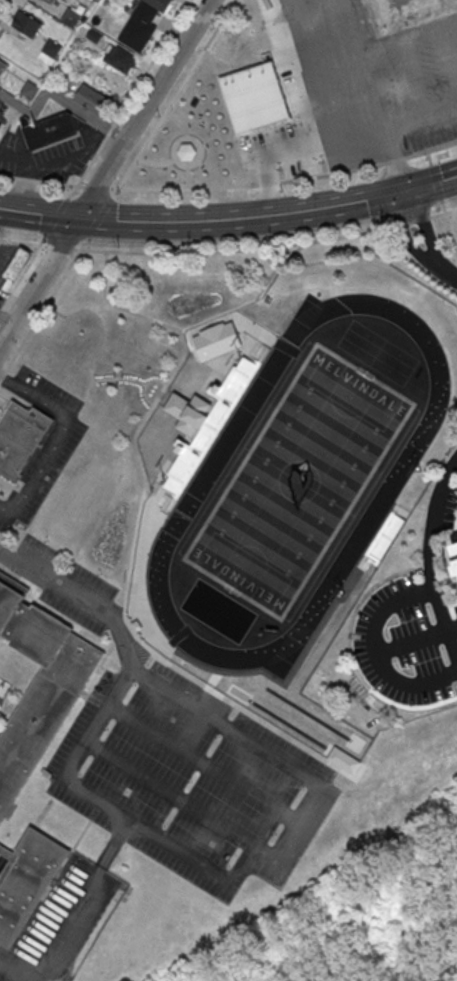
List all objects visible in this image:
building: (50, 1)
road: (3, 5)
building: (412, 10)
building: (70, 16)
building: (143, 22)
building: (26, 23)
road: (380, 48)
building: (50, 50)
building: (120, 58)
road: (447, 58)
building: (2, 65)
road: (320, 69)
parking lot: (375, 79)
road: (414, 84)
building: (29, 89)
road: (51, 92)
road: (373, 97)
building: (91, 98)
road: (130, 98)
road: (173, 98)
building: (255, 99)
road: (180, 121)
building: (0, 124)
road: (312, 124)
road: (421, 128)
building: (50, 129)
park: (193, 138)
road: (387, 142)
road: (430, 156)
road: (155, 163)
road: (187, 166)
road: (105, 172)
road: (188, 177)
road: (287, 178)
road: (41, 180)
road: (437, 180)
road: (98, 187)
traffic signals: (415, 188)
traffic signals: (404, 191)
traffic signals: (397, 193)
road: (443, 211)
road: (38, 213)
road: (268, 214)
road: (99, 216)
road: (57, 217)
traffic signals: (76, 221)
road: (414, 221)
road: (425, 224)
road: (449, 225)
road: (408, 232)
road: (22, 242)
road: (59, 246)
road: (235, 249)
road: (446, 267)
building: (15, 268)
road: (23, 273)
road: (46, 303)
road: (8, 317)
road: (100, 321)
road: (198, 330)
road: (2, 374)
road: (0, 376)
road: (109, 377)
road: (145, 385)
road: (5, 397)
building: (189, 412)
road: (56, 435)
building: (20, 438)
park: (297, 480)
track: (296, 481)
road: (10, 482)
road: (22, 489)
building: (455, 549)
road: (428, 560)
building: (456, 566)
road: (136, 585)
road: (76, 602)
parking lot: (413, 616)
road: (452, 630)
road: (382, 652)
building: (39, 684)
parking lot: (181, 757)
road: (202, 763)
park: (386, 792)
road: (180, 798)
road: (244, 865)
building: (26, 881)
road: (80, 899)
road: (12, 973)

